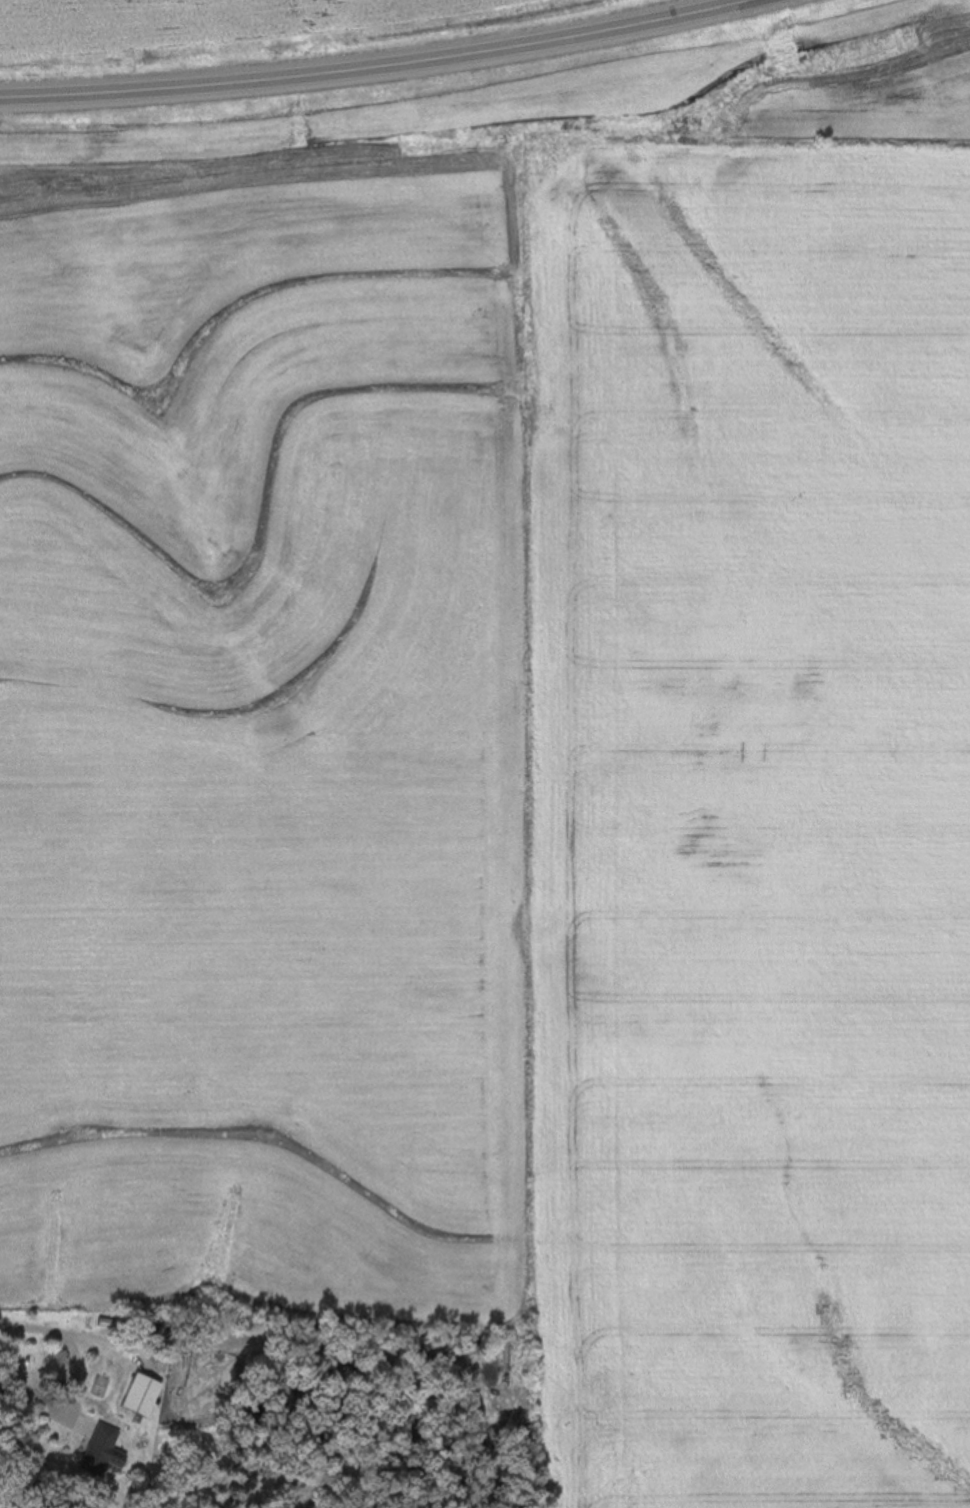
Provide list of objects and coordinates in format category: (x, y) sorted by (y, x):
road: (369, 64)
road: (67, 1348)
building: (147, 1396)
building: (105, 1452)

